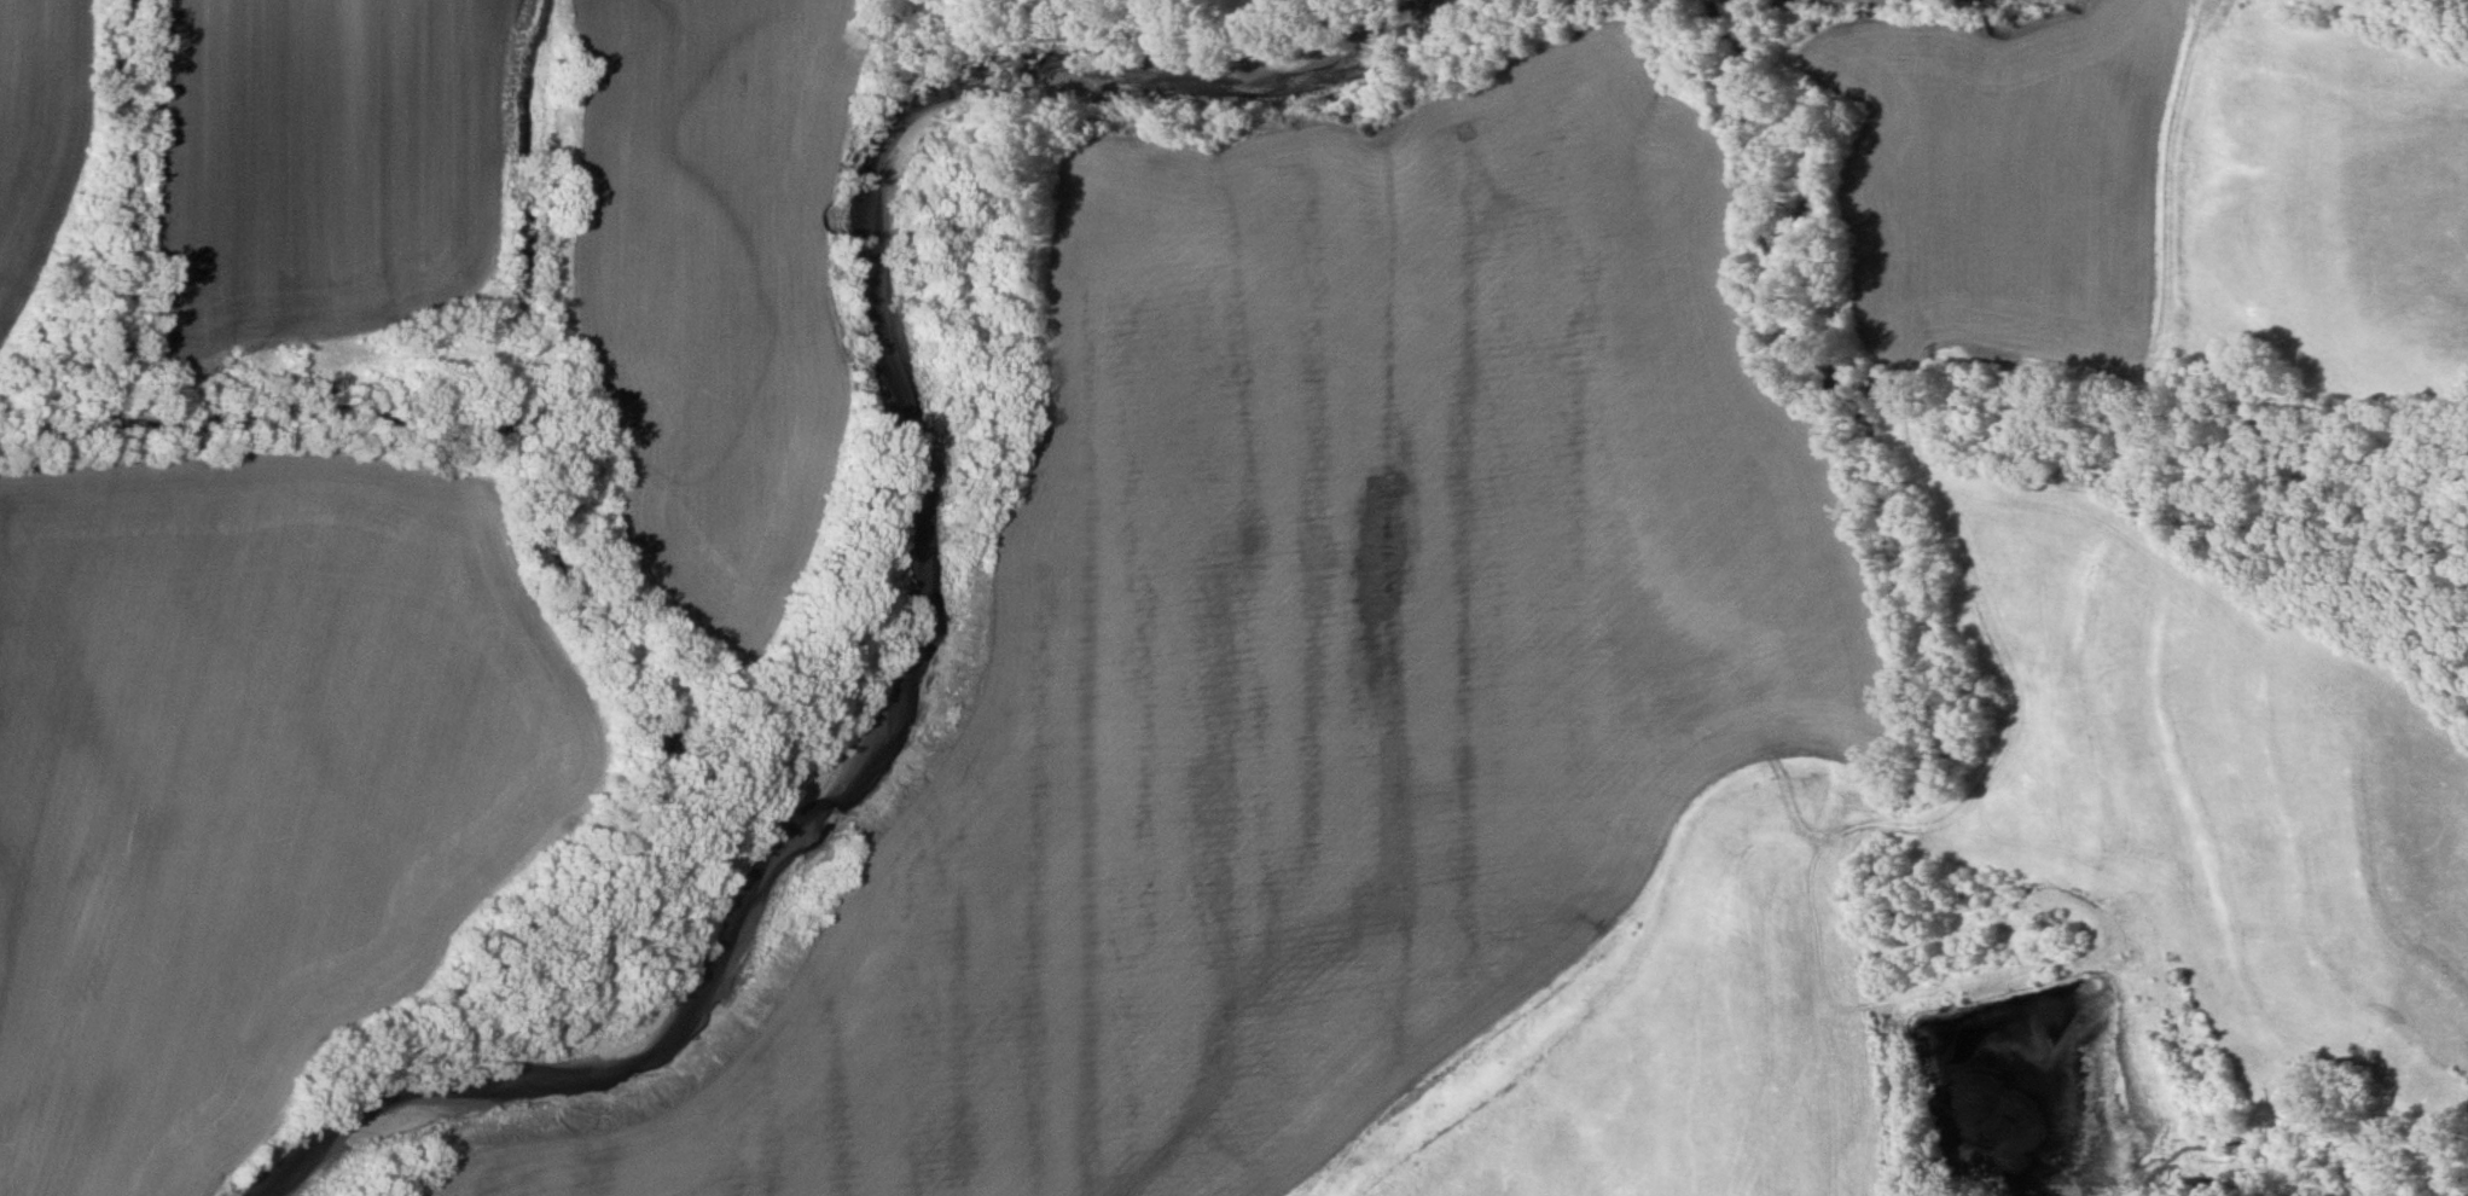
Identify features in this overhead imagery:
road: (2216, 11)

